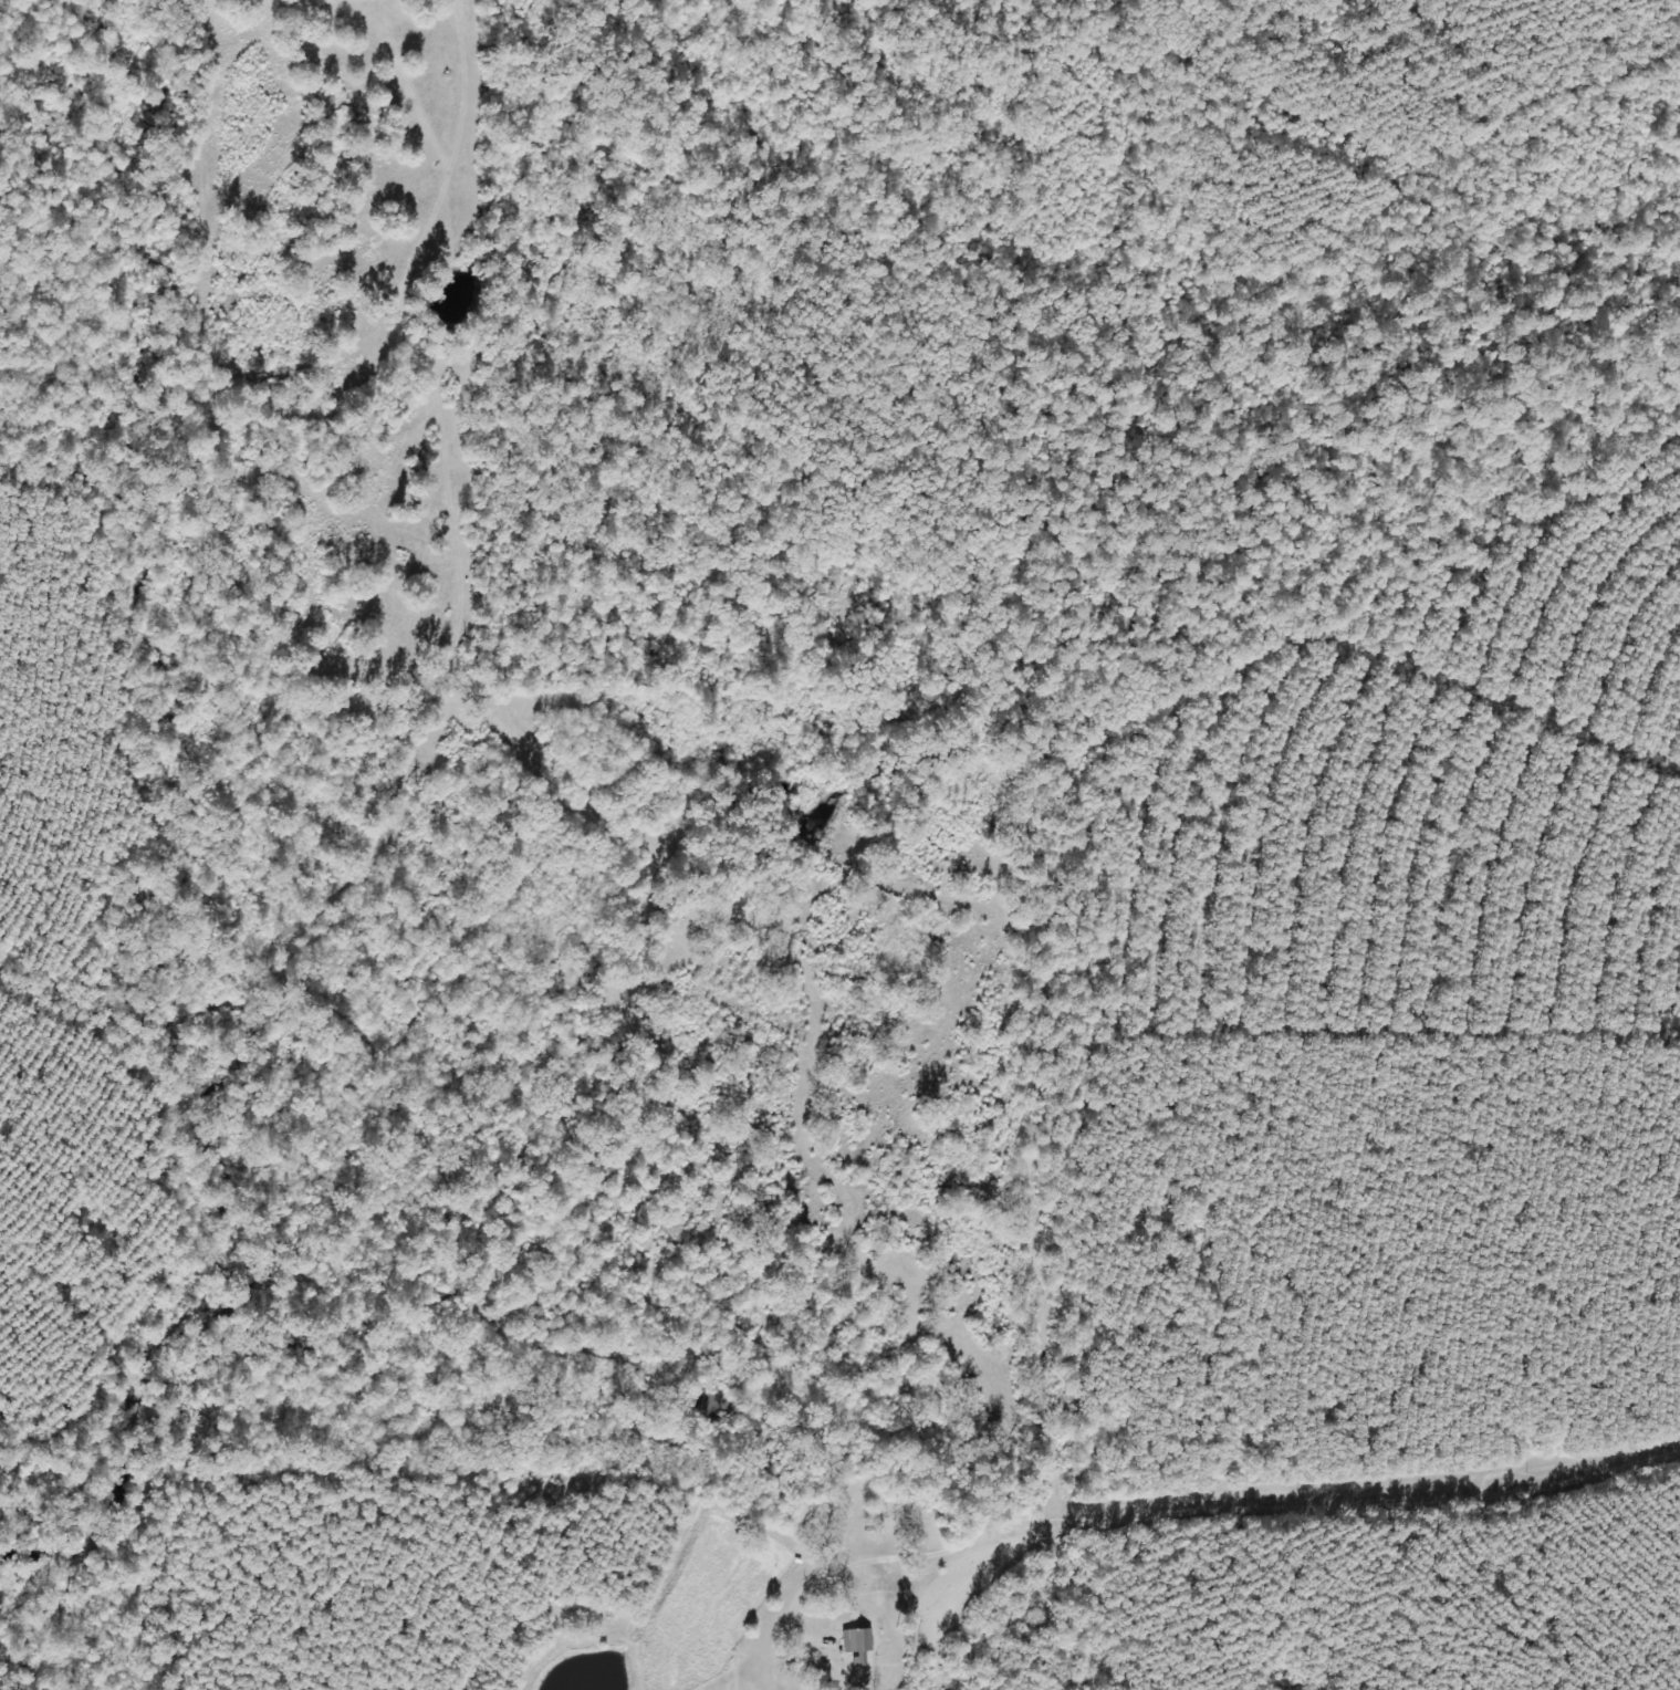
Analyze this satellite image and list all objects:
road: (1286, 1530)
building: (858, 1645)

